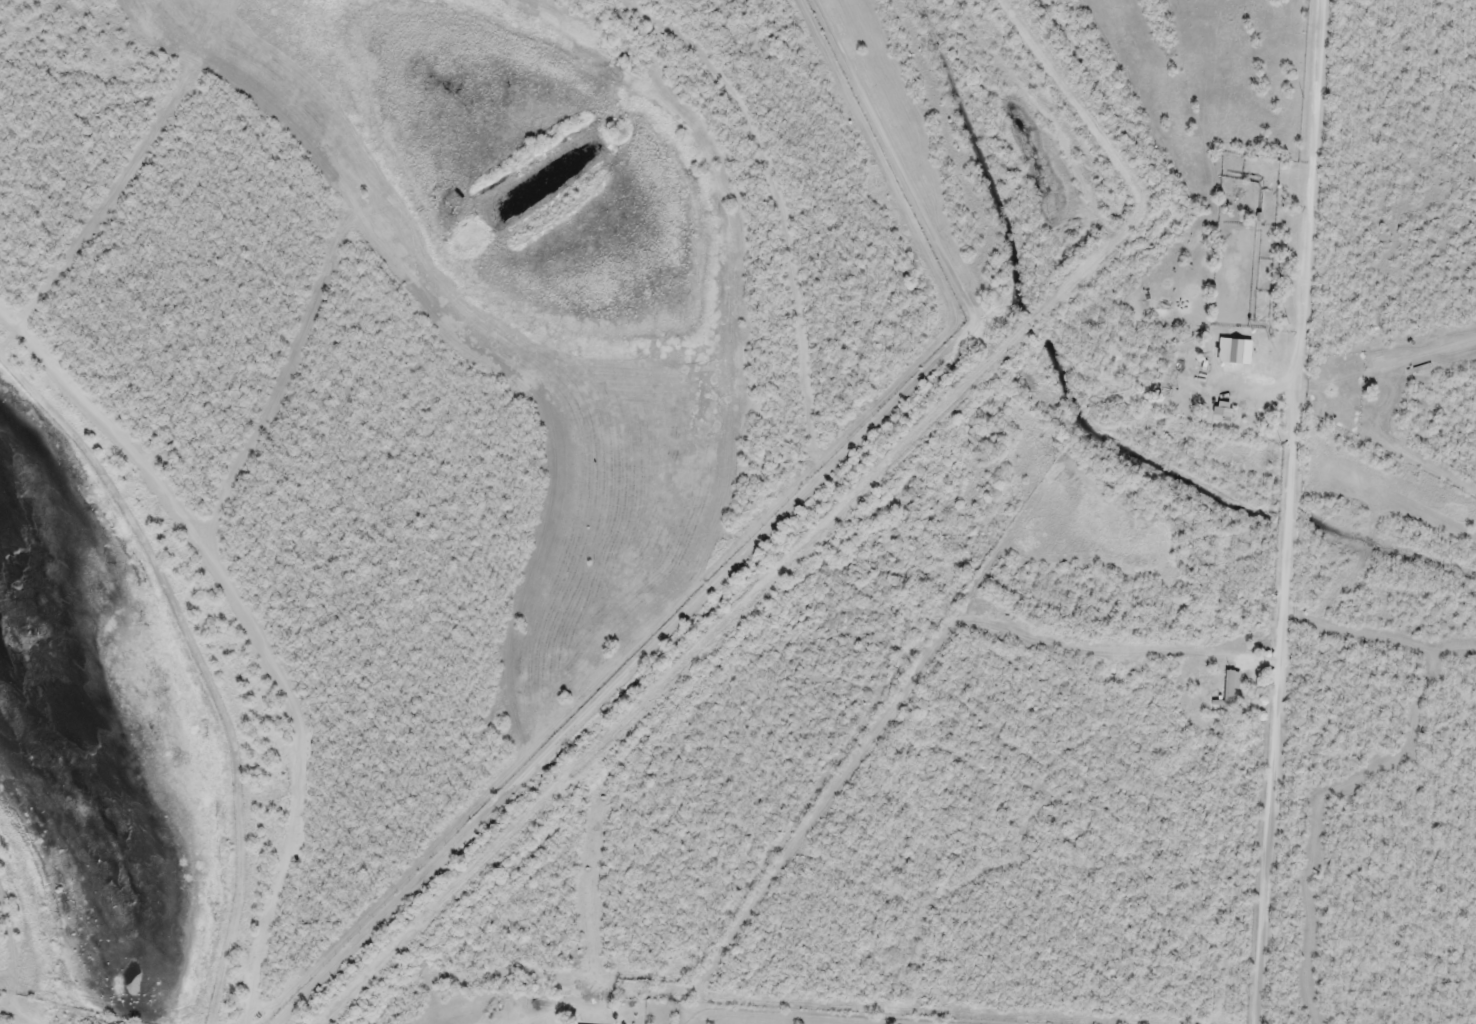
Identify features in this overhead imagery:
building: (1234, 350)
building: (1222, 409)
road: (1299, 511)
road: (262, 586)
building: (1230, 685)

